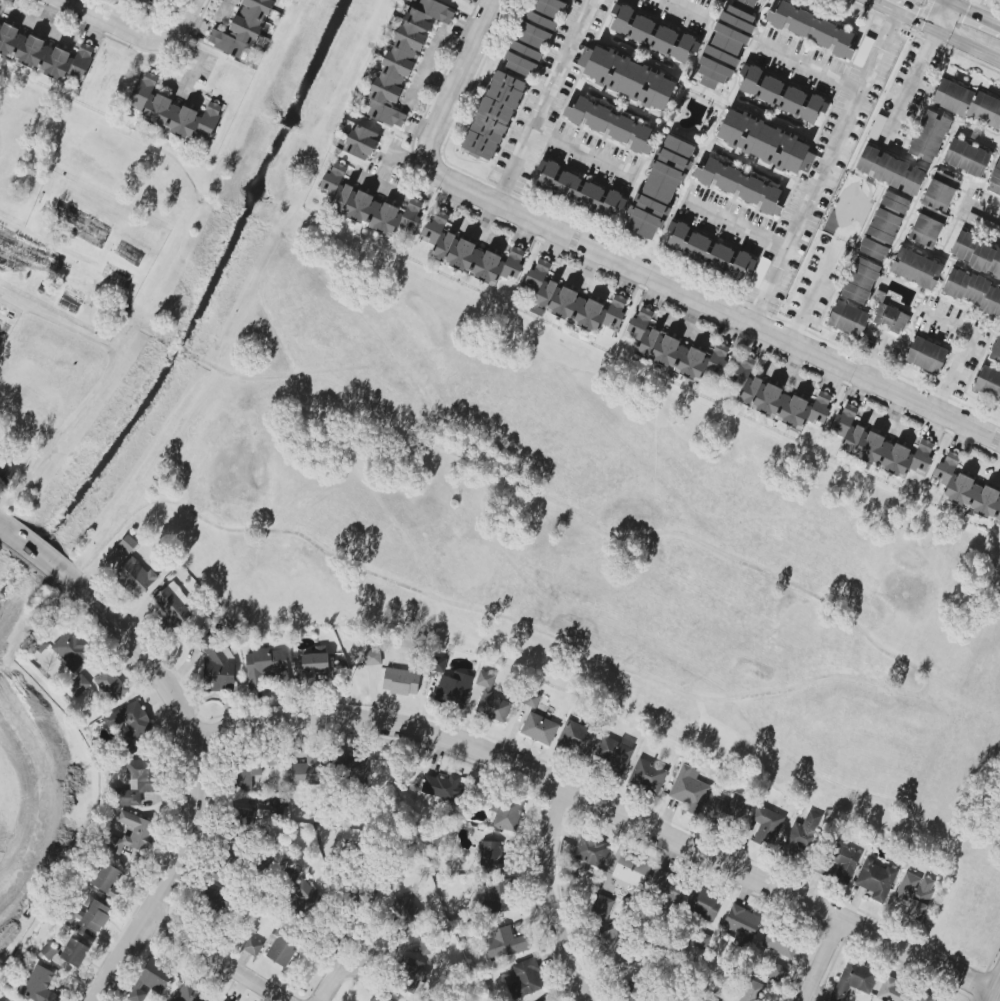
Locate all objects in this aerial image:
building: (150, 2)
traffic signals: (944, 3)
road: (682, 6)
building: (1, 9)
road: (982, 9)
road: (226, 12)
road: (968, 14)
road: (938, 15)
building: (242, 29)
building: (812, 29)
road: (932, 31)
traffic signals: (932, 31)
road: (135, 33)
building: (652, 34)
building: (532, 36)
building: (726, 44)
building: (43, 54)
building: (404, 58)
road: (811, 68)
road: (464, 71)
building: (627, 77)
road: (909, 80)
parking lot: (906, 94)
building: (781, 95)
road: (544, 102)
building: (968, 103)
building: (172, 111)
building: (493, 116)
building: (609, 124)
building: (929, 136)
building: (361, 142)
building: (765, 142)
road: (578, 149)
building: (966, 157)
road: (823, 169)
building: (890, 171)
building: (995, 180)
building: (739, 186)
building: (659, 187)
building: (579, 191)
building: (368, 206)
park: (848, 206)
building: (933, 210)
road: (984, 211)
building: (884, 226)
road: (742, 227)
building: (469, 253)
building: (976, 253)
building: (715, 255)
road: (99, 265)
building: (916, 268)
building: (861, 280)
building: (972, 291)
road: (809, 294)
road: (241, 297)
building: (572, 302)
road: (705, 302)
river: (195, 310)
building: (890, 318)
building: (848, 319)
road: (57, 325)
road: (142, 328)
road: (176, 346)
building: (672, 349)
road: (962, 350)
building: (996, 351)
building: (926, 355)
building: (988, 384)
building: (777, 398)
road: (55, 436)
building: (0, 442)
building: (879, 446)
building: (7, 472)
park: (471, 488)
building: (966, 489)
road: (2, 522)
road: (26, 543)
building: (128, 543)
building: (115, 557)
building: (135, 577)
building: (173, 605)
road: (132, 642)
building: (72, 649)
building: (372, 657)
building: (315, 662)
building: (217, 663)
building: (439, 664)
building: (264, 666)
road: (821, 677)
building: (485, 679)
building: (401, 682)
building: (111, 684)
building: (78, 685)
building: (453, 690)
building: (531, 700)
building: (493, 706)
building: (129, 720)
building: (539, 728)
building: (578, 739)
building: (614, 754)
building: (273, 758)
building: (352, 766)
building: (307, 768)
building: (244, 772)
building: (647, 775)
building: (140, 784)
building: (441, 786)
building: (689, 790)
road: (26, 803)
park: (32, 803)
building: (728, 807)
road: (609, 811)
building: (507, 812)
building: (243, 818)
building: (766, 826)
building: (133, 834)
building: (803, 835)
building: (591, 851)
building: (492, 856)
building: (842, 863)
building: (631, 871)
road: (170, 875)
building: (221, 875)
building: (108, 879)
building: (876, 880)
building: (668, 889)
building: (915, 893)
building: (494, 896)
road: (547, 897)
building: (305, 898)
building: (222, 901)
building: (702, 903)
building: (601, 908)
building: (406, 911)
building: (94, 914)
building: (742, 925)
building: (781, 942)
building: (504, 943)
building: (252, 946)
building: (611, 948)
building: (48, 951)
building: (74, 952)
road: (217, 957)
road: (825, 961)
road: (348, 970)
building: (778, 973)
building: (413, 977)
building: (151, 979)
building: (522, 979)
building: (853, 980)
road: (329, 984)
road: (992, 984)
building: (40, 985)
building: (632, 990)
building: (753, 991)
building: (894, 991)
building: (190, 992)
building: (380, 997)
building: (926, 998)
building: (549, 1000)

